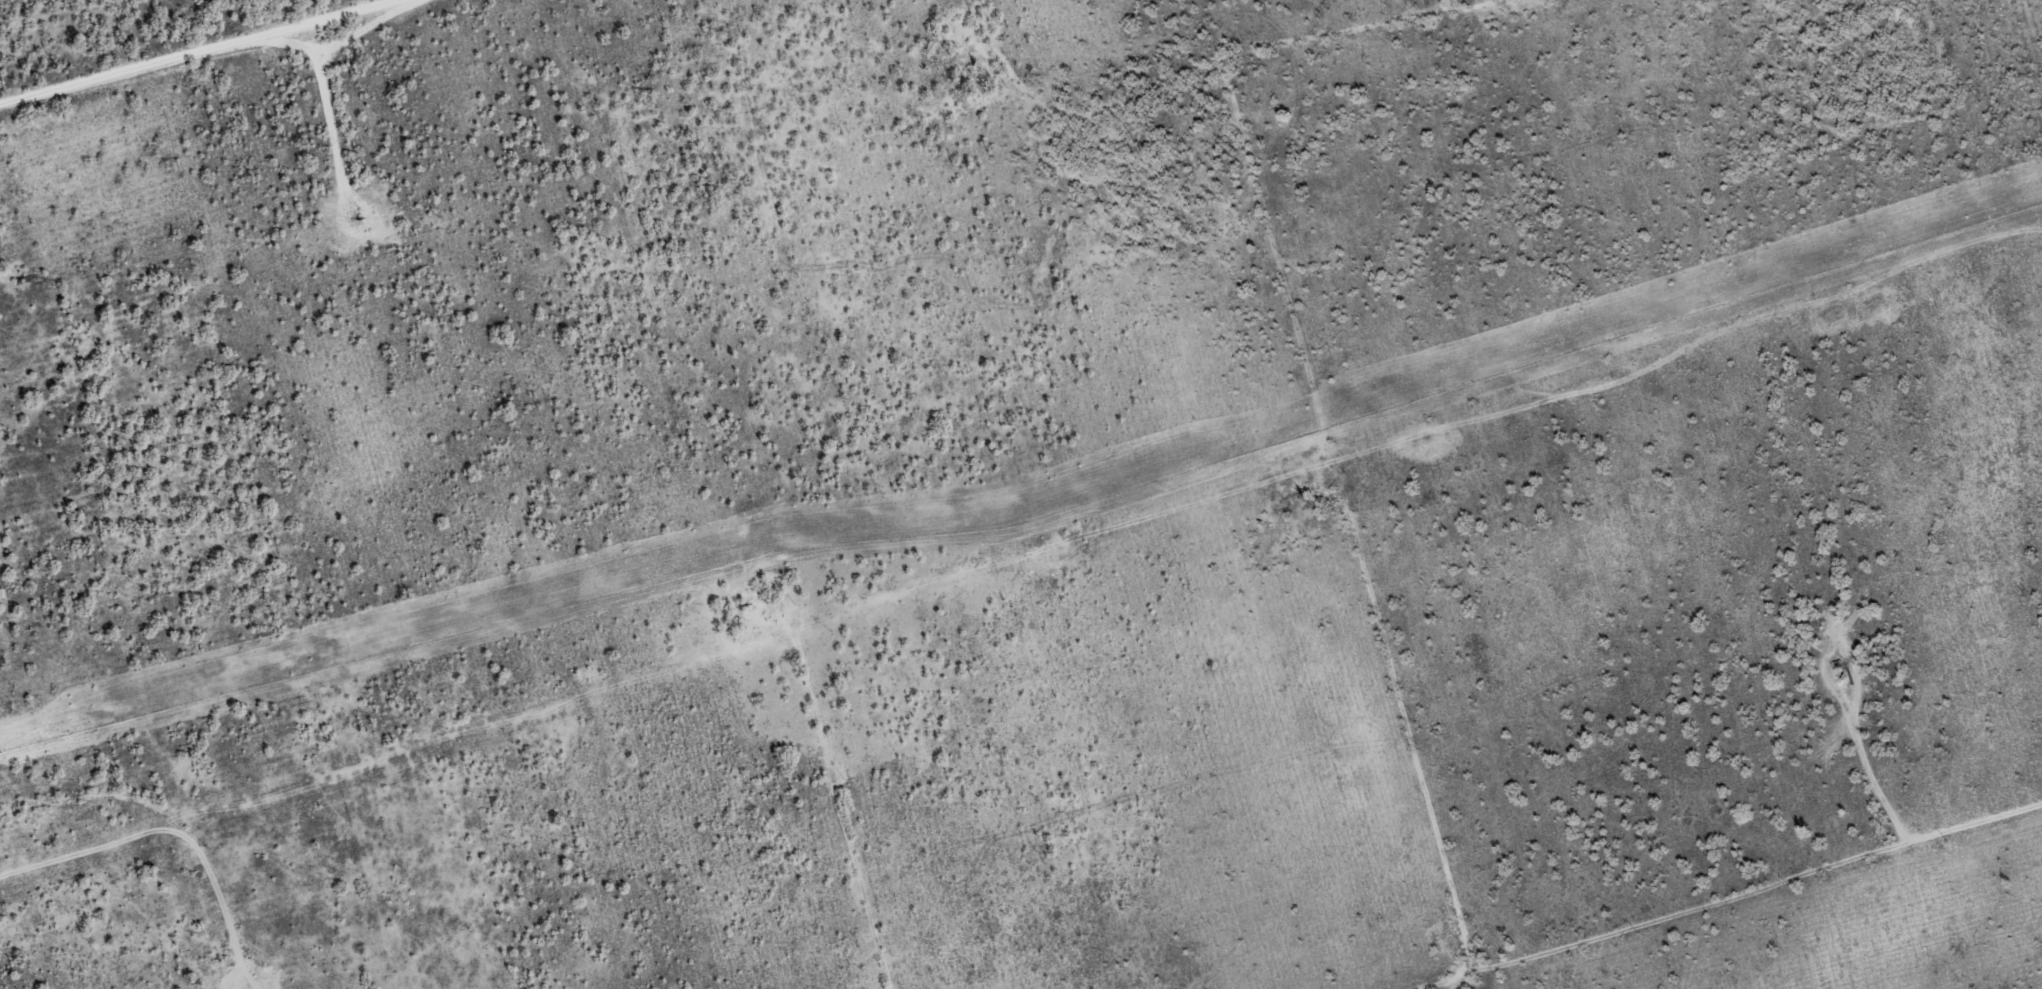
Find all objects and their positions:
road: (1906, 838)

